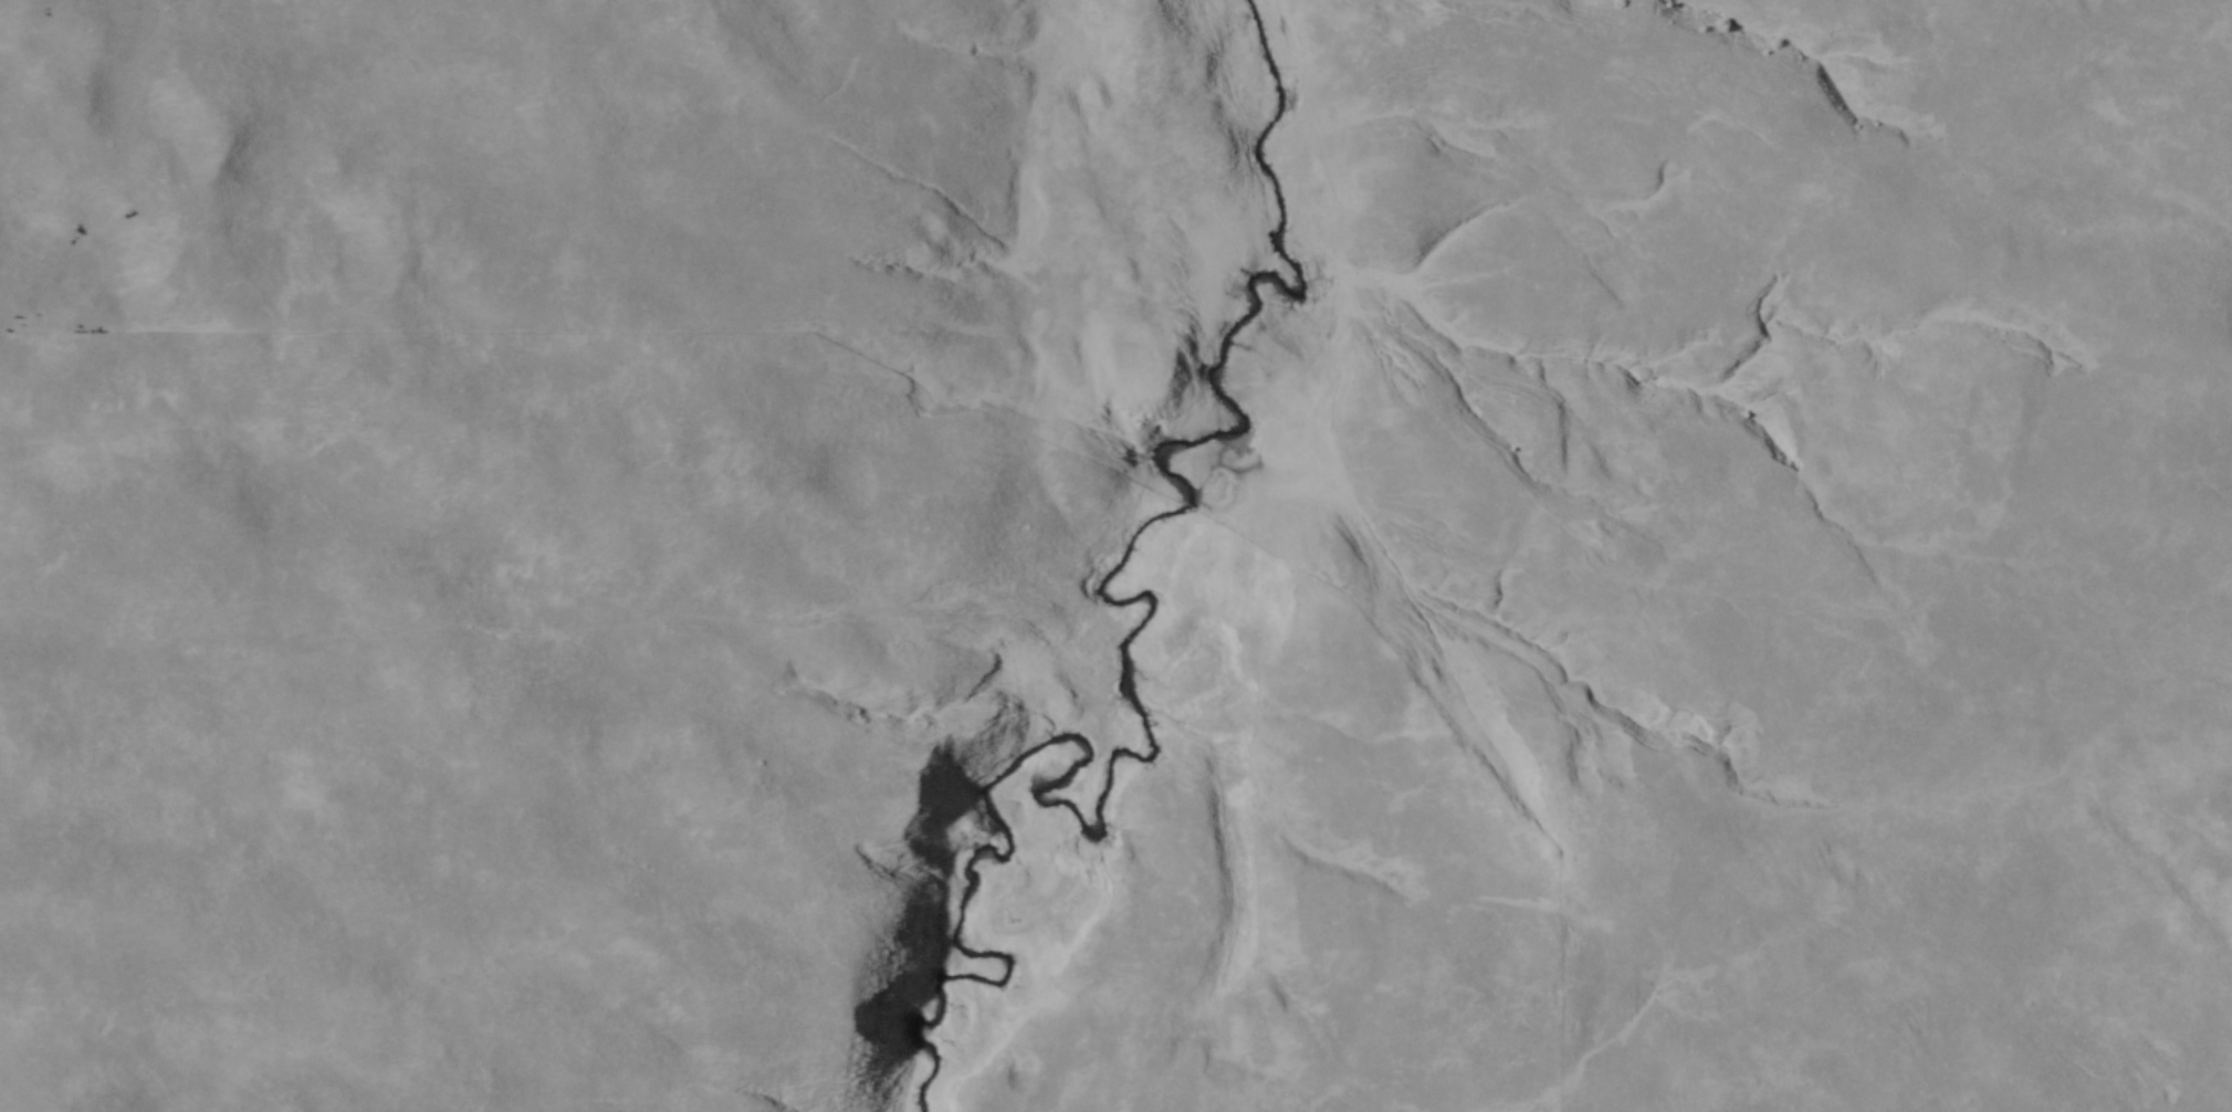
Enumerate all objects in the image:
river: (1217, 662)

